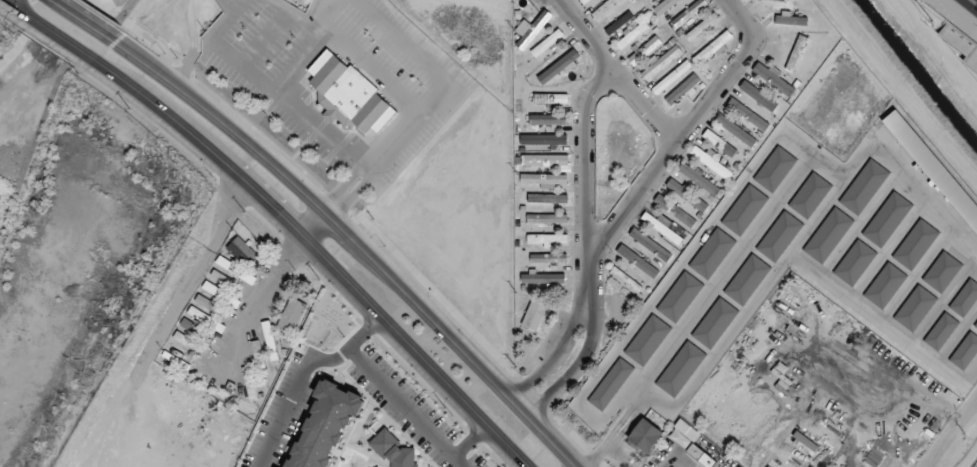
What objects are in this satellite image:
building: (584, 1)
park: (975, 1)
road: (14, 2)
building: (663, 6)
building: (689, 12)
track: (955, 16)
building: (621, 17)
building: (793, 17)
road: (87, 19)
road: (312, 23)
building: (701, 27)
building: (534, 28)
stadium: (954, 29)
road: (50, 30)
building: (632, 33)
road: (264, 36)
building: (547, 42)
building: (712, 47)
building: (644, 49)
building: (796, 52)
road: (298, 60)
building: (972, 60)
building: (660, 61)
building: (558, 66)
road: (368, 68)
road: (616, 71)
road: (725, 72)
building: (670, 77)
building: (774, 77)
building: (682, 88)
building: (348, 94)
building: (761, 96)
building: (550, 97)
building: (748, 113)
building: (548, 119)
building: (735, 129)
building: (544, 139)
building: (724, 145)
road: (878, 149)
building: (544, 159)
road: (361, 162)
building: (711, 162)
building: (933, 166)
road: (367, 167)
building: (774, 167)
building: (544, 178)
building: (700, 178)
road: (585, 179)
building: (864, 185)
building: (687, 194)
building: (810, 194)
building: (543, 197)
road: (631, 199)
road: (335, 202)
building: (744, 209)
building: (675, 210)
building: (547, 217)
building: (887, 217)
road: (315, 224)
building: (662, 227)
building: (828, 233)
building: (779, 235)
building: (543, 238)
road: (358, 241)
building: (650, 243)
building: (915, 243)
road: (315, 250)
building: (244, 251)
building: (712, 252)
building: (548, 257)
building: (637, 260)
building: (854, 261)
road: (679, 263)
building: (236, 268)
building: (942, 270)
building: (543, 276)
road: (718, 276)
building: (224, 278)
building: (626, 279)
building: (747, 279)
building: (884, 284)
building: (216, 290)
building: (679, 295)
building: (965, 297)
road: (257, 305)
building: (915, 306)
road: (589, 307)
building: (208, 311)
building: (292, 314)
building: (534, 314)
building: (714, 322)
building: (975, 324)
road: (882, 327)
building: (941, 330)
building: (270, 338)
building: (647, 339)
building: (965, 350)
road: (713, 351)
building: (260, 358)
building: (680, 368)
building: (250, 382)
building: (610, 383)
road: (634, 407)
road: (949, 429)
building: (644, 434)
building: (692, 447)
road: (600, 452)

